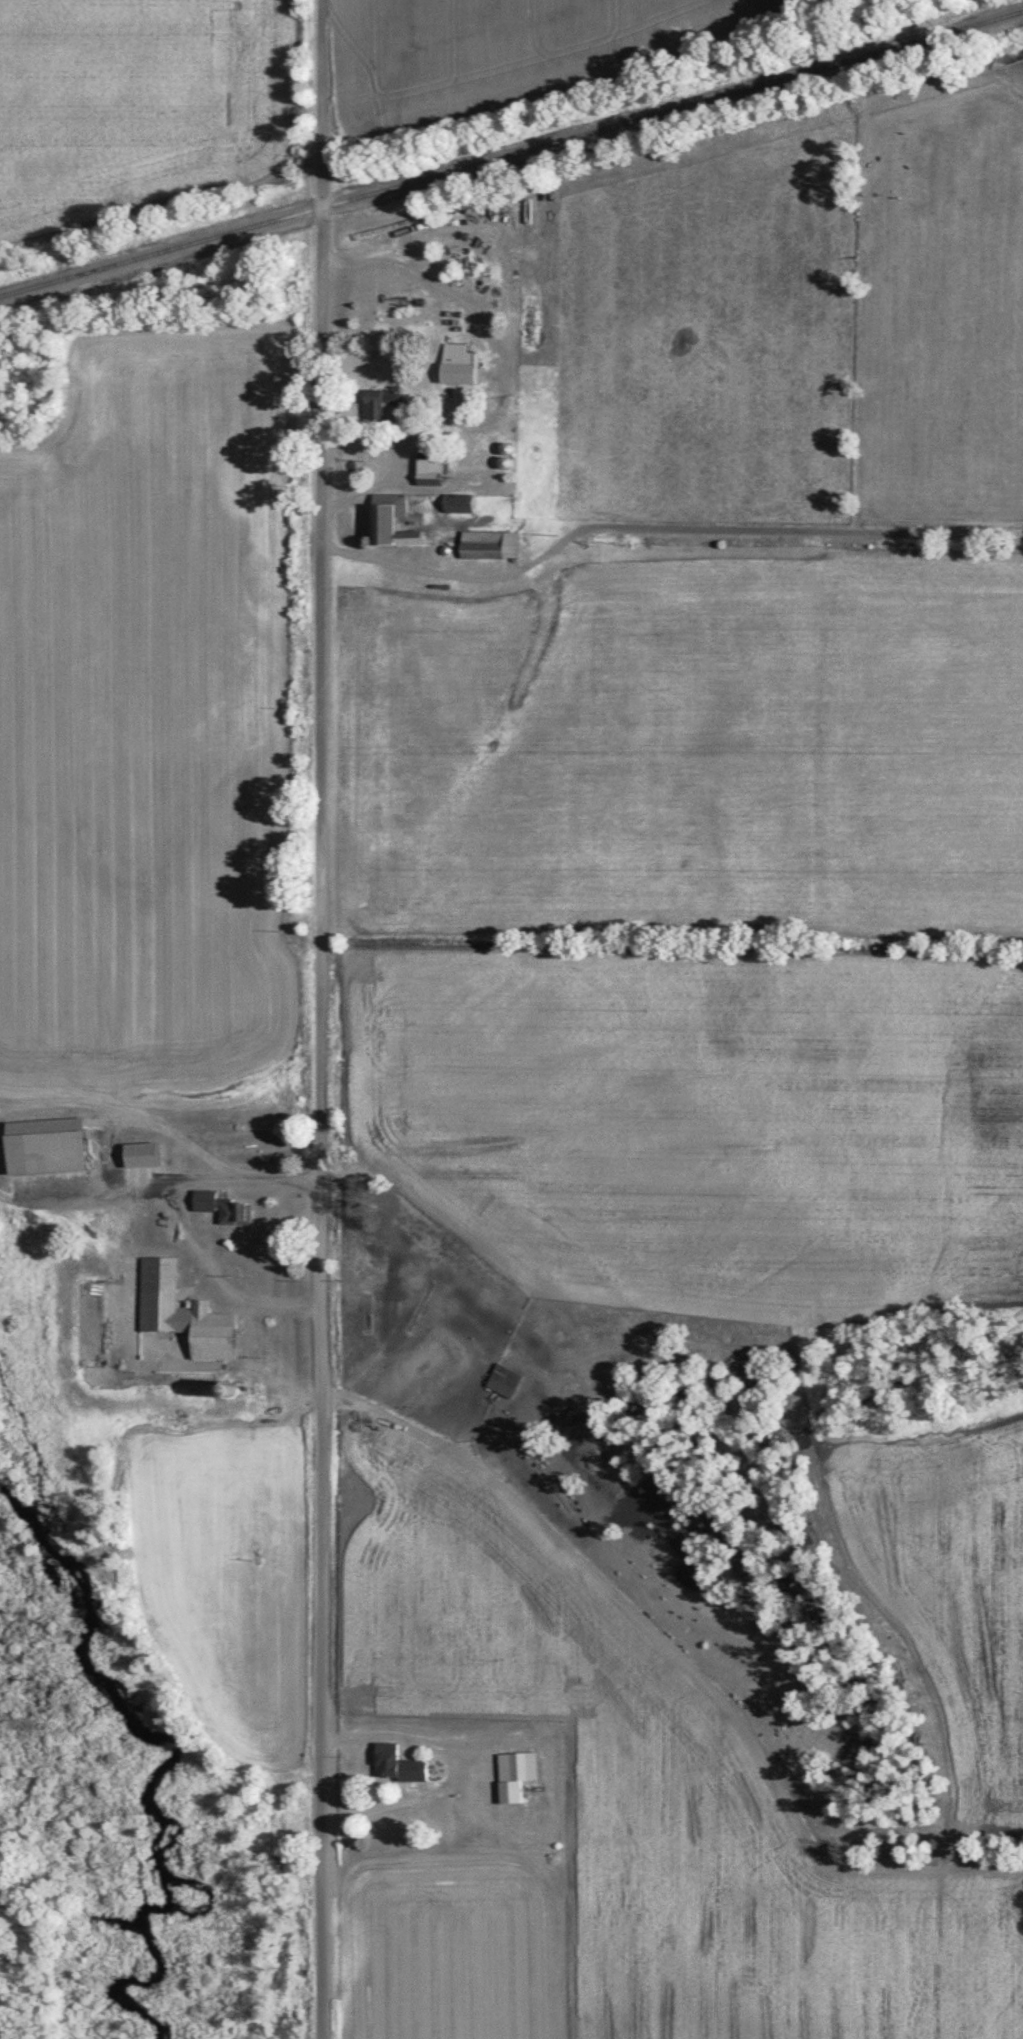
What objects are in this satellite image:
railway: (511, 154)
building: (456, 363)
building: (428, 465)
building: (456, 502)
building: (489, 544)
road: (319, 1019)
building: (44, 1143)
building: (140, 1153)
building: (203, 1198)
building: (232, 1210)
building: (181, 1310)
building: (501, 1379)
building: (396, 1762)
building: (514, 1772)

